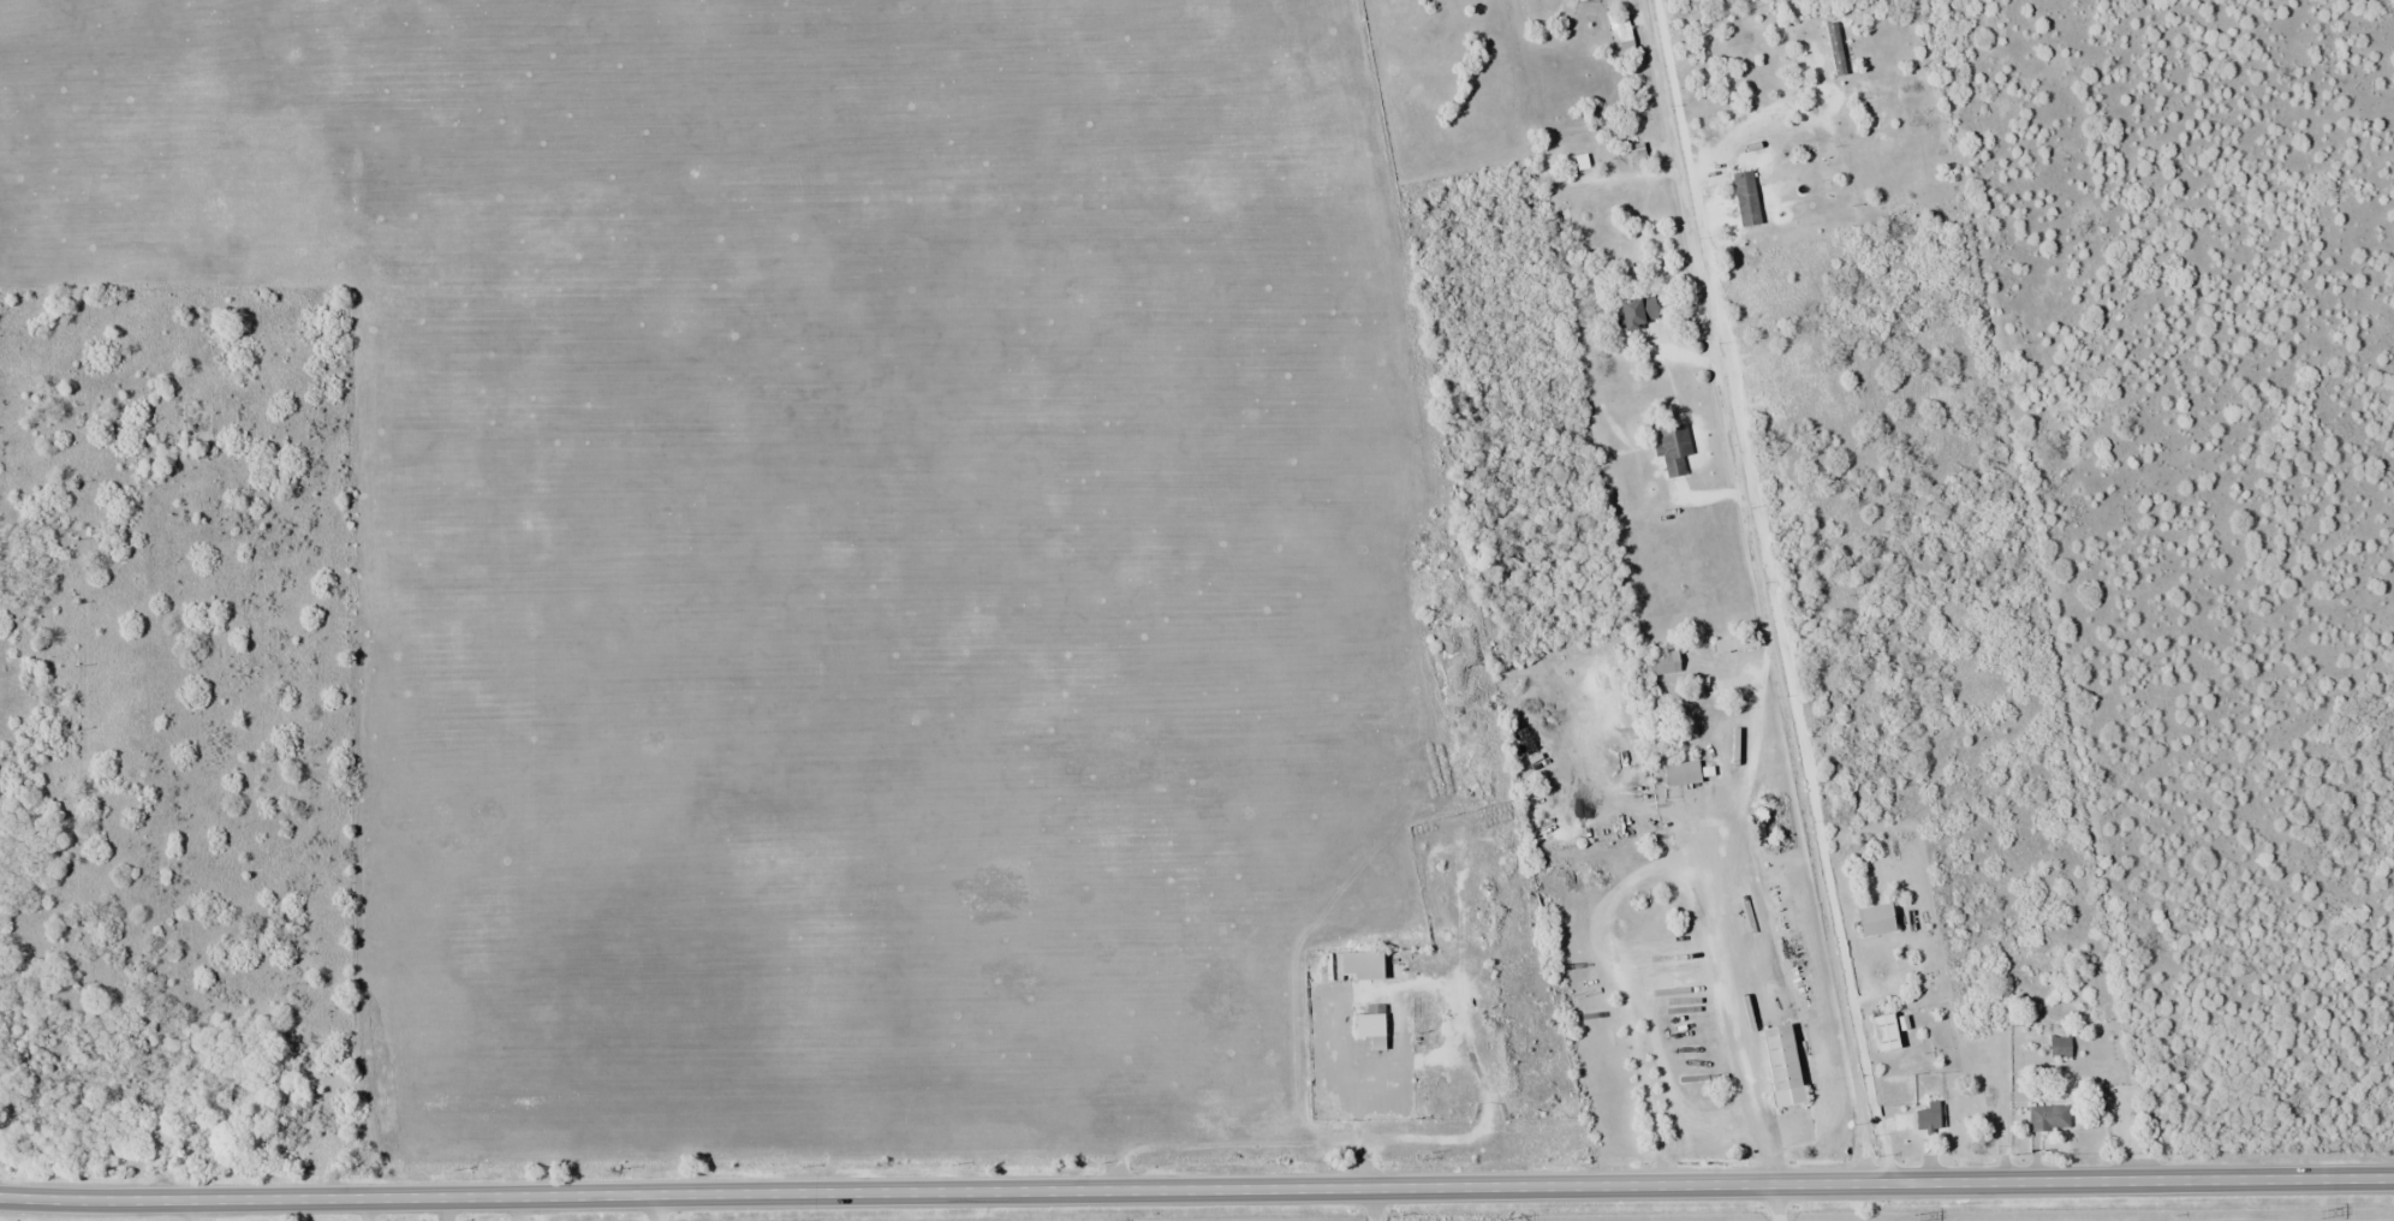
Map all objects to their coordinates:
building: (1621, 34)
building: (1835, 49)
road: (1756, 113)
building: (1746, 198)
building: (1639, 312)
building: (1674, 448)
road: (1757, 591)
road: (1773, 591)
building: (1665, 661)
building: (1683, 773)
building: (1877, 919)
building: (1363, 966)
building: (1372, 1026)
building: (1887, 1034)
building: (2060, 1048)
building: (1783, 1066)
building: (2048, 1118)
building: (1928, 1120)
road: (1196, 1190)
road: (1370, 1204)
road: (520, 1208)
road: (659, 1208)
road: (370, 1209)
road: (192, 1210)
power tower: (2317, 1215)
power tower: (1910, 1217)
power tower: (1501, 1220)

